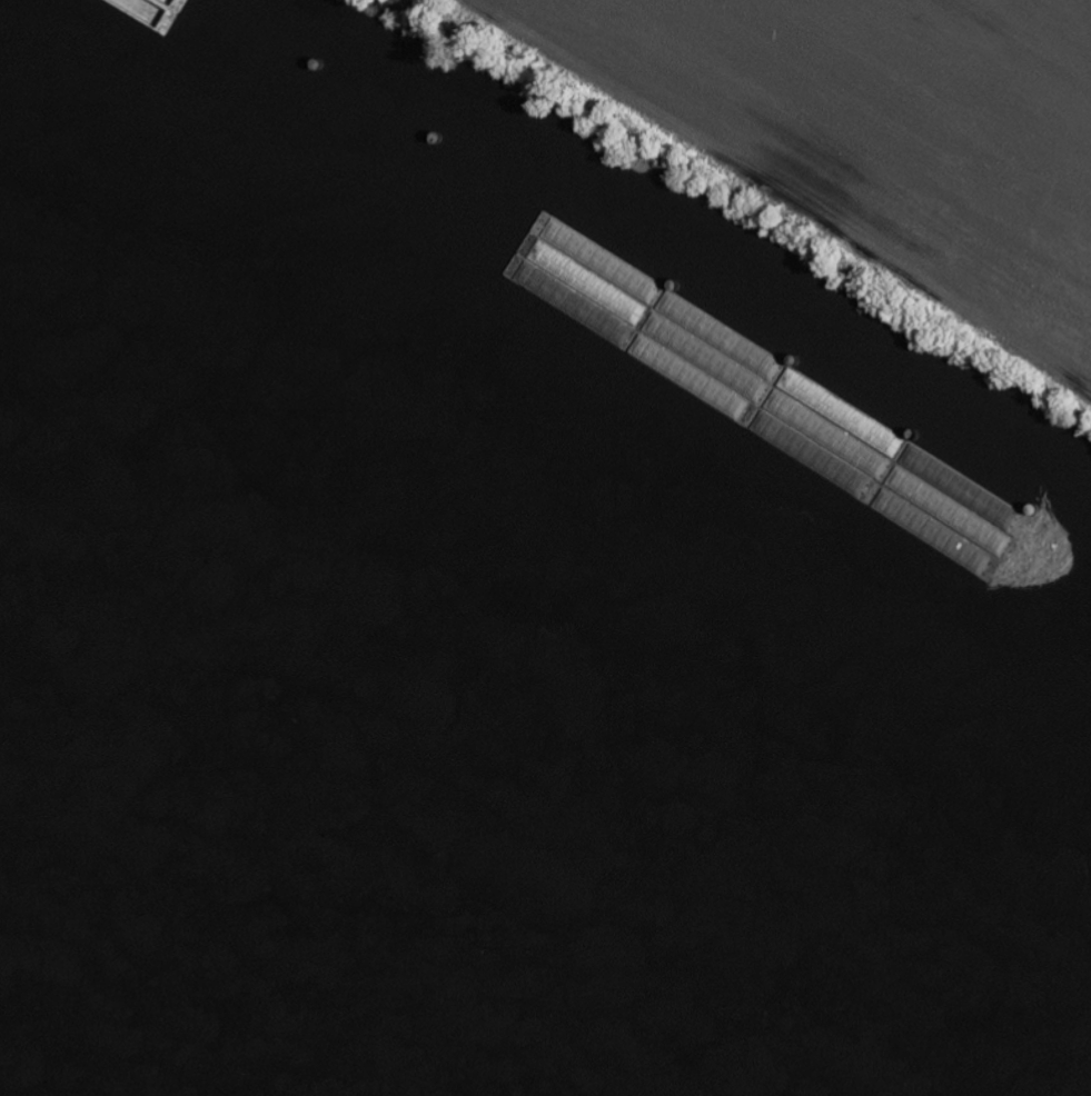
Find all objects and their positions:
road: (958, 84)
building: (439, 249)
building: (430, 272)
river: (343, 916)

